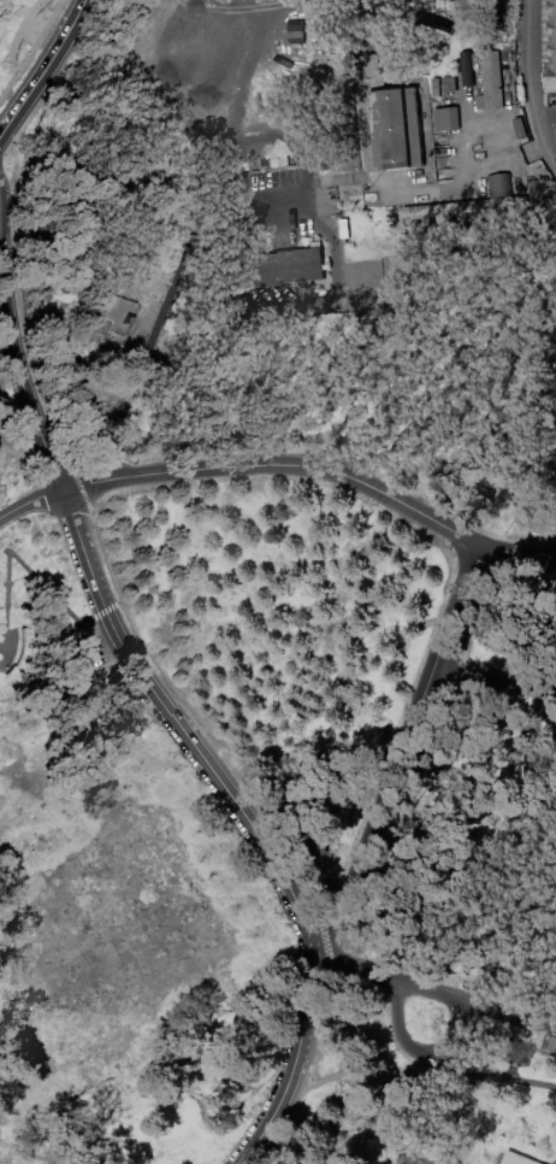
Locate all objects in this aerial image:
road: (72, 22)
road: (24, 25)
road: (32, 31)
building: (292, 31)
building: (550, 43)
road: (31, 49)
building: (463, 71)
building: (489, 81)
road: (531, 82)
building: (449, 86)
road: (30, 89)
building: (446, 120)
parking lot: (551, 122)
building: (520, 129)
building: (396, 130)
road: (0, 153)
building: (496, 186)
road: (258, 207)
road: (194, 236)
building: (297, 265)
building: (555, 327)
road: (23, 387)
road: (278, 464)
road: (29, 500)
road: (516, 554)
road: (113, 577)
park: (278, 582)
road: (491, 690)
road: (178, 724)
road: (400, 753)
road: (318, 957)
road: (442, 997)
road: (428, 1062)
road: (292, 1064)
road: (307, 1065)
road: (474, 1075)
building: (517, 1159)

